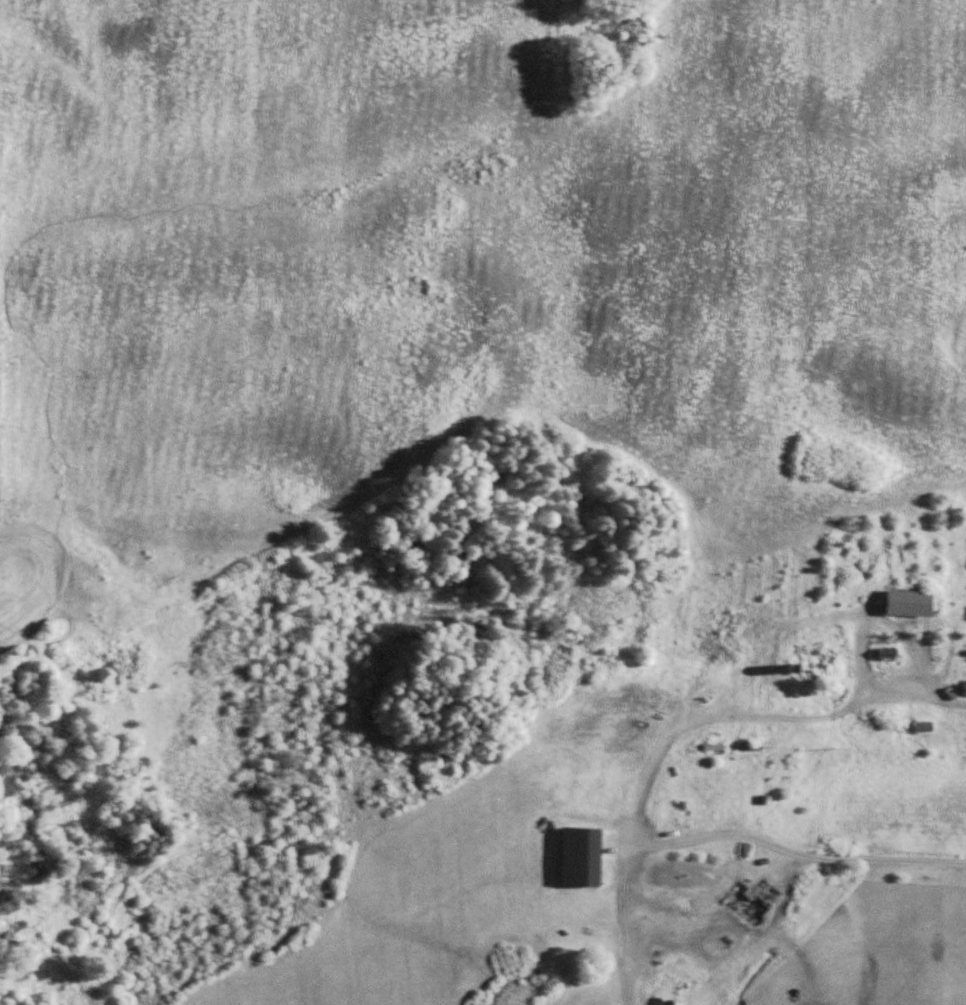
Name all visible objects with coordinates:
building: (911, 603)
building: (818, 648)
building: (888, 654)
building: (964, 689)
building: (582, 857)
road: (797, 917)

